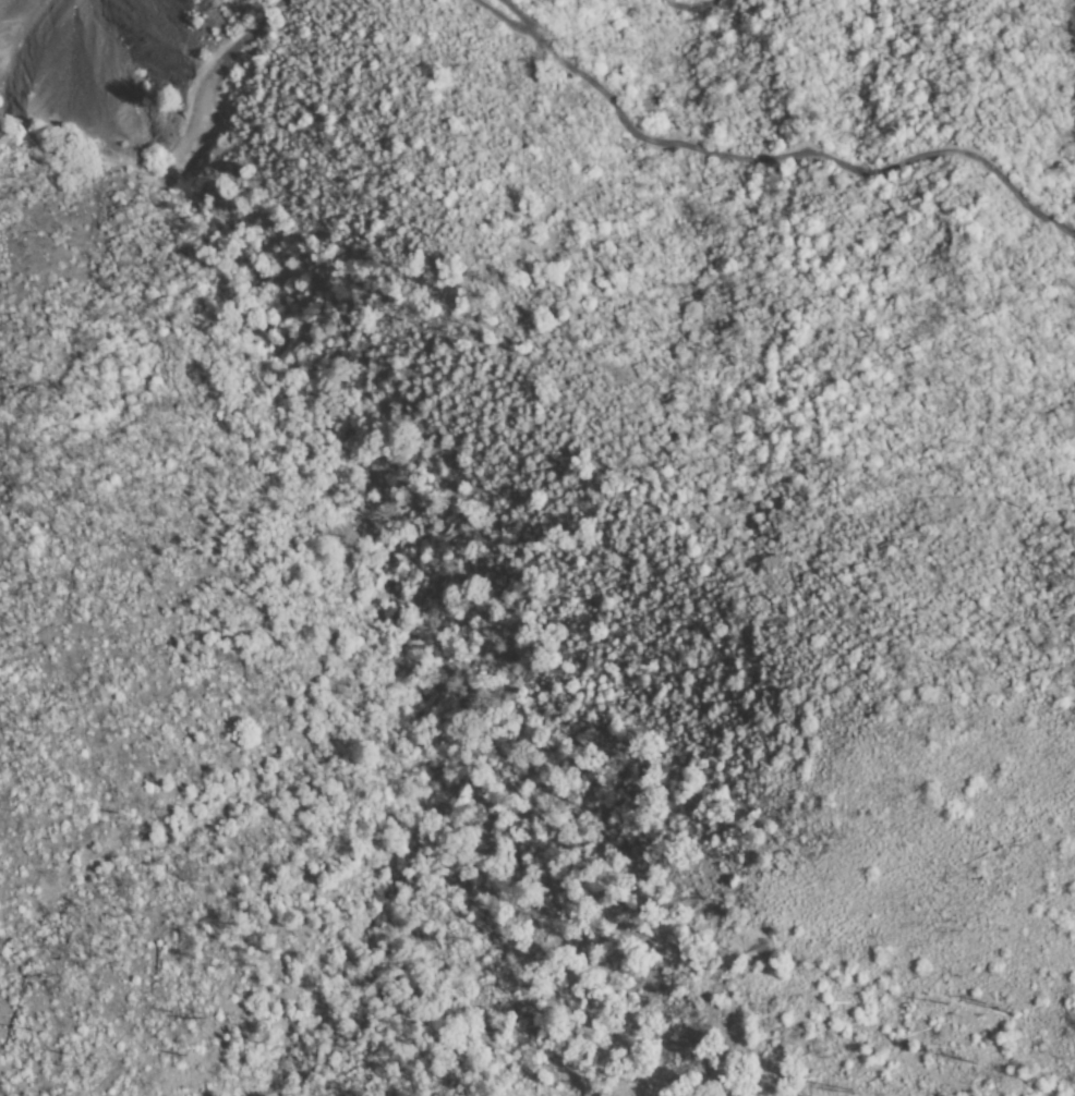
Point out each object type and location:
road: (684, 5)
road: (507, 21)
road: (209, 83)
road: (780, 155)

